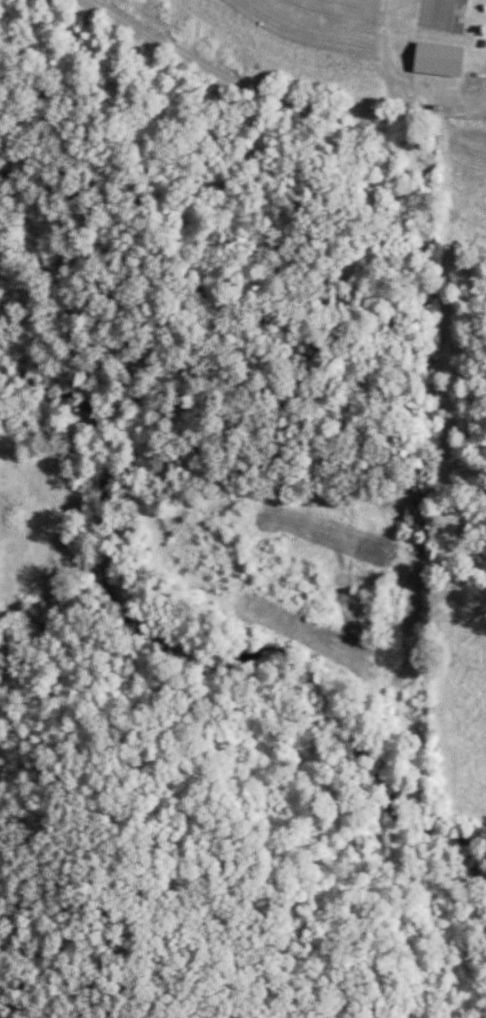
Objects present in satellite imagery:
road: (275, 101)

